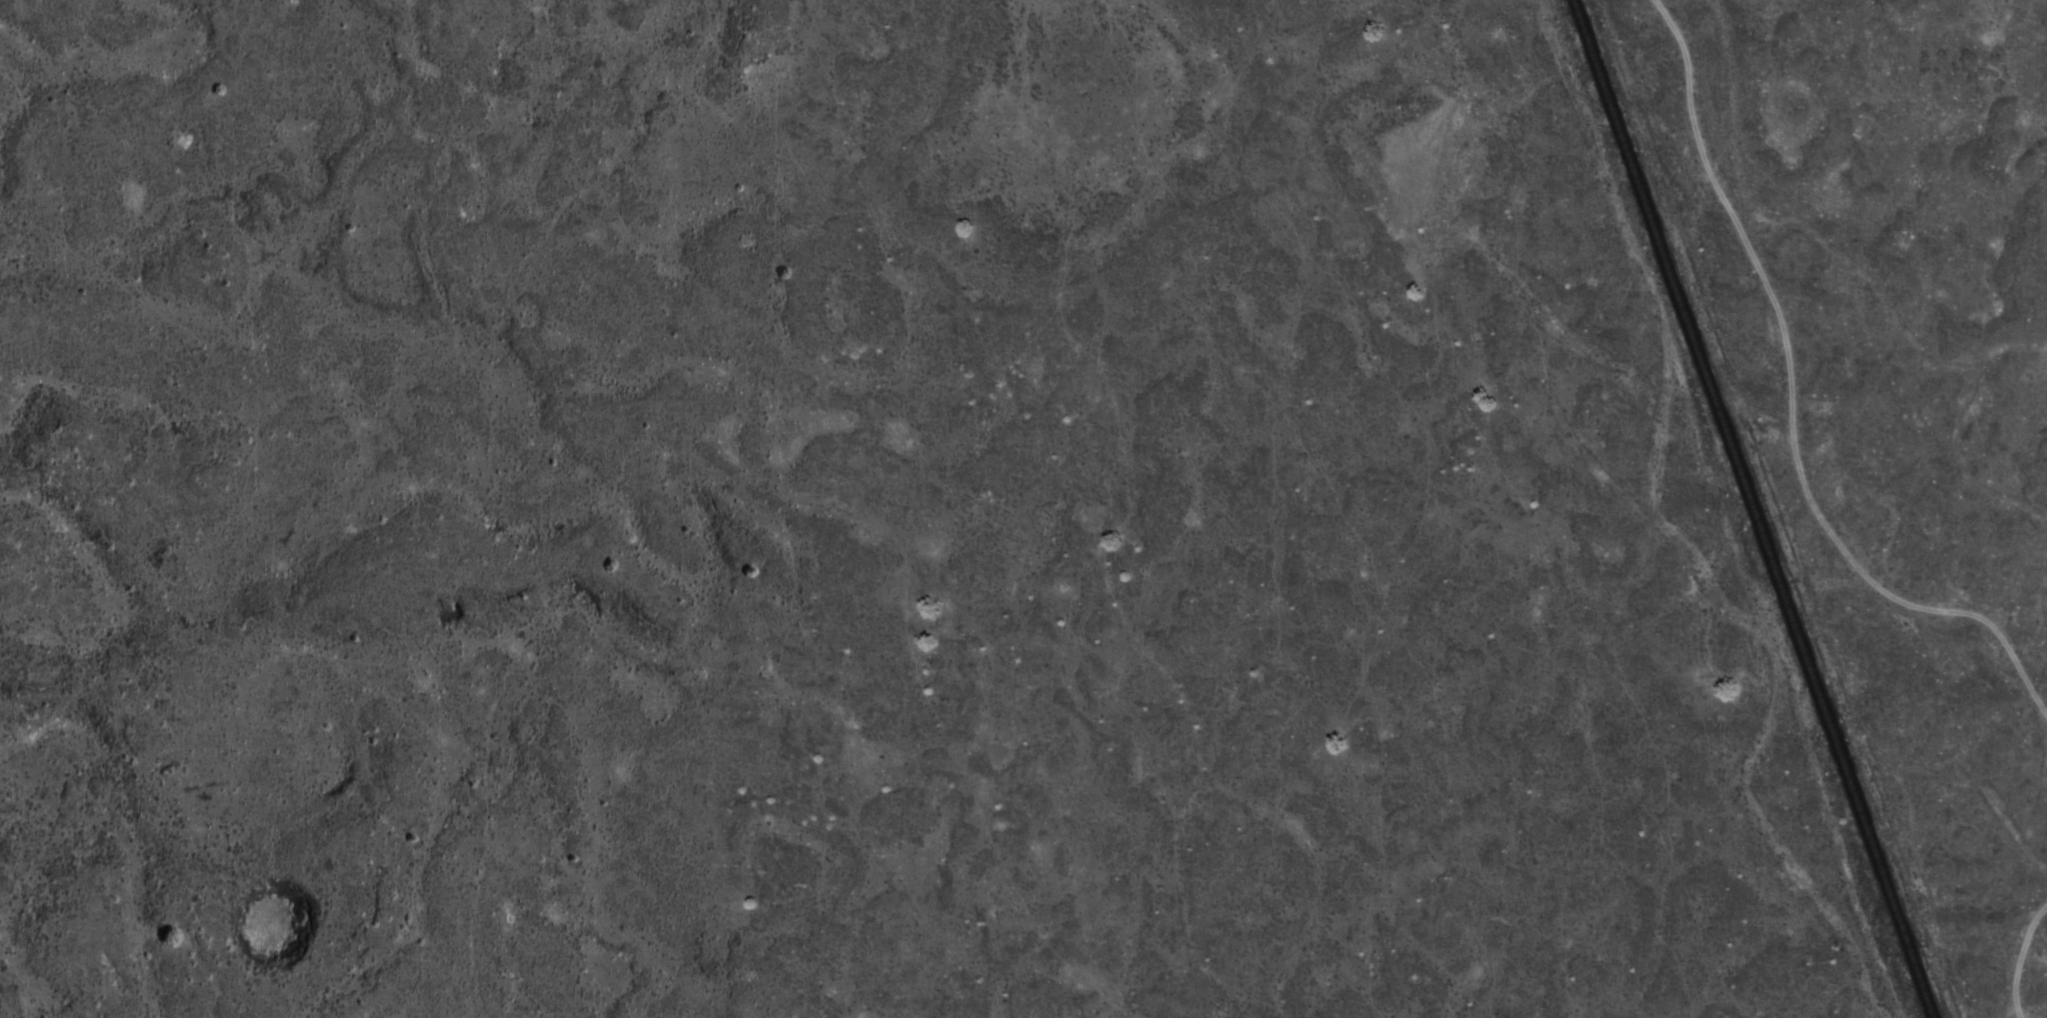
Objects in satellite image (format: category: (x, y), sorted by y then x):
road: (1797, 395)
railway: (1749, 509)

